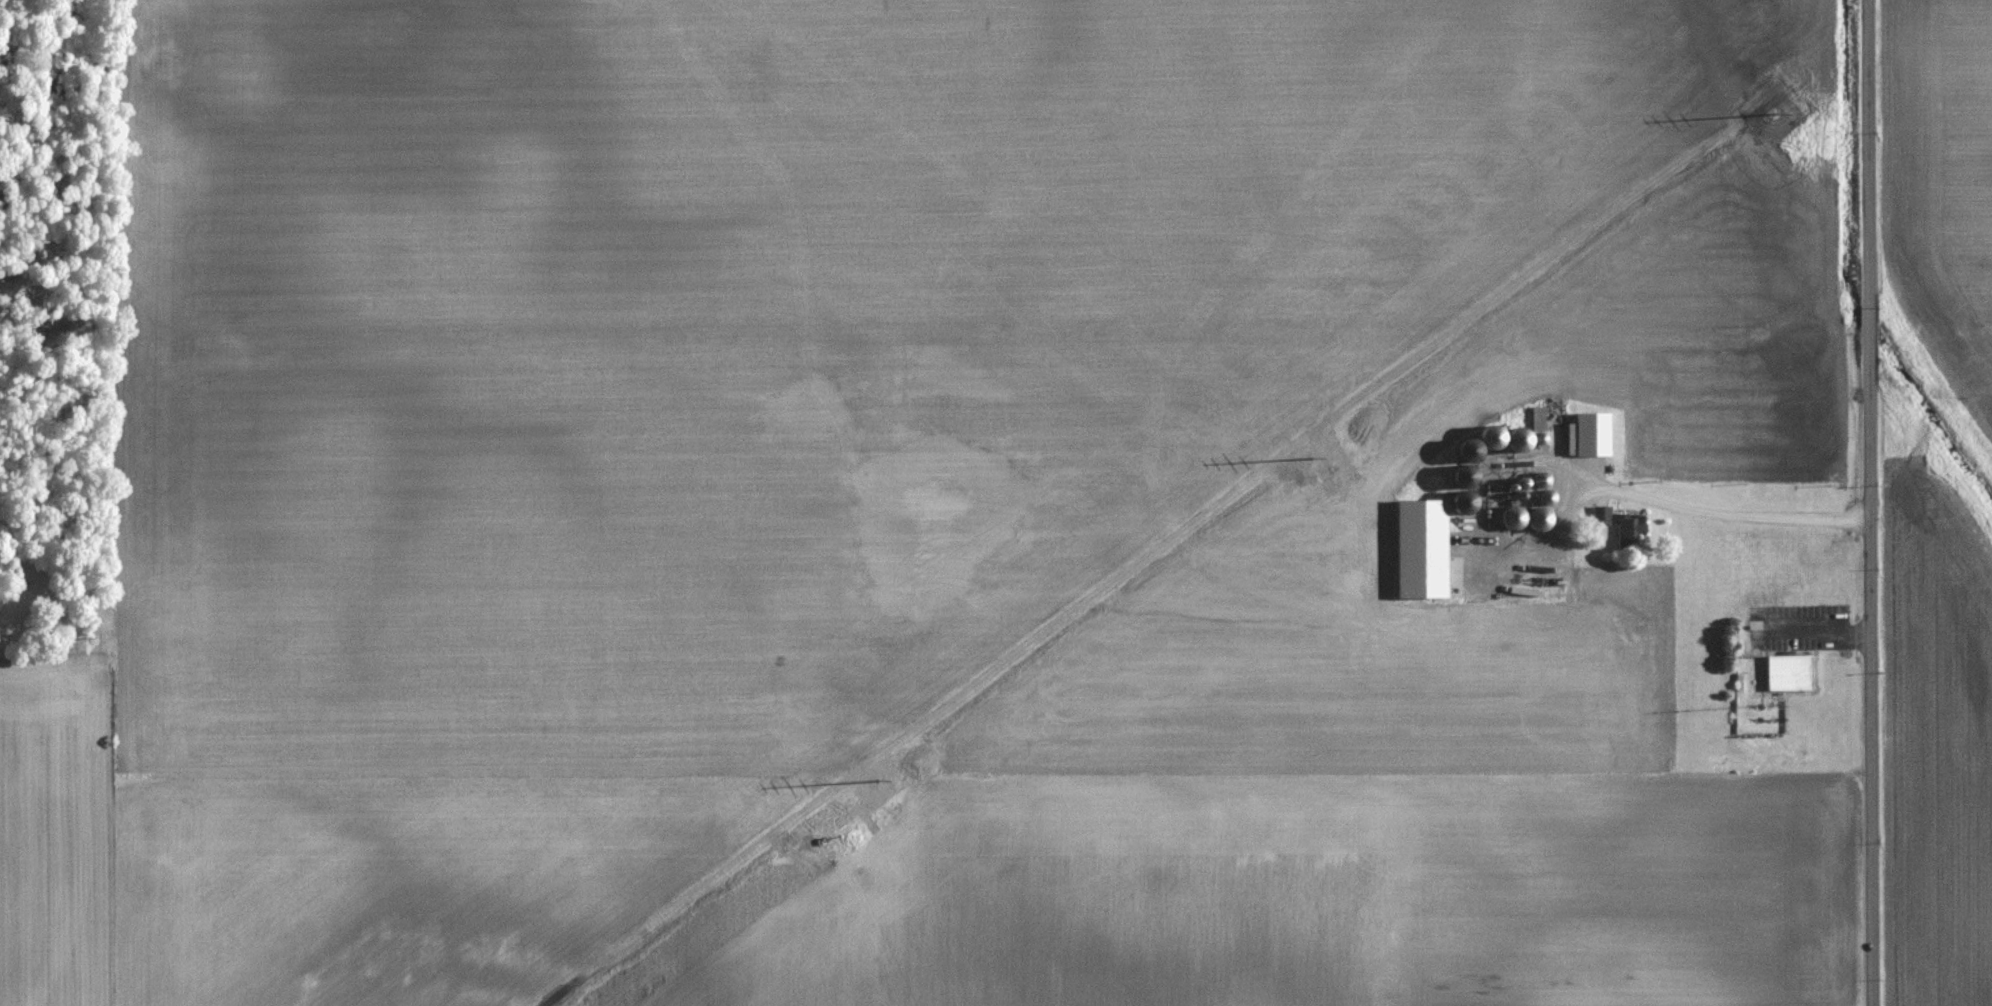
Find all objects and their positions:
power tower: (1789, 146)
building: (1594, 434)
building: (1493, 437)
building: (1521, 440)
building: (1470, 462)
building: (1542, 480)
power tower: (1335, 482)
building: (1548, 497)
road: (1653, 498)
road: (1870, 503)
building: (1514, 518)
building: (1540, 518)
building: (1623, 525)
building: (1790, 673)
power tower: (851, 835)

